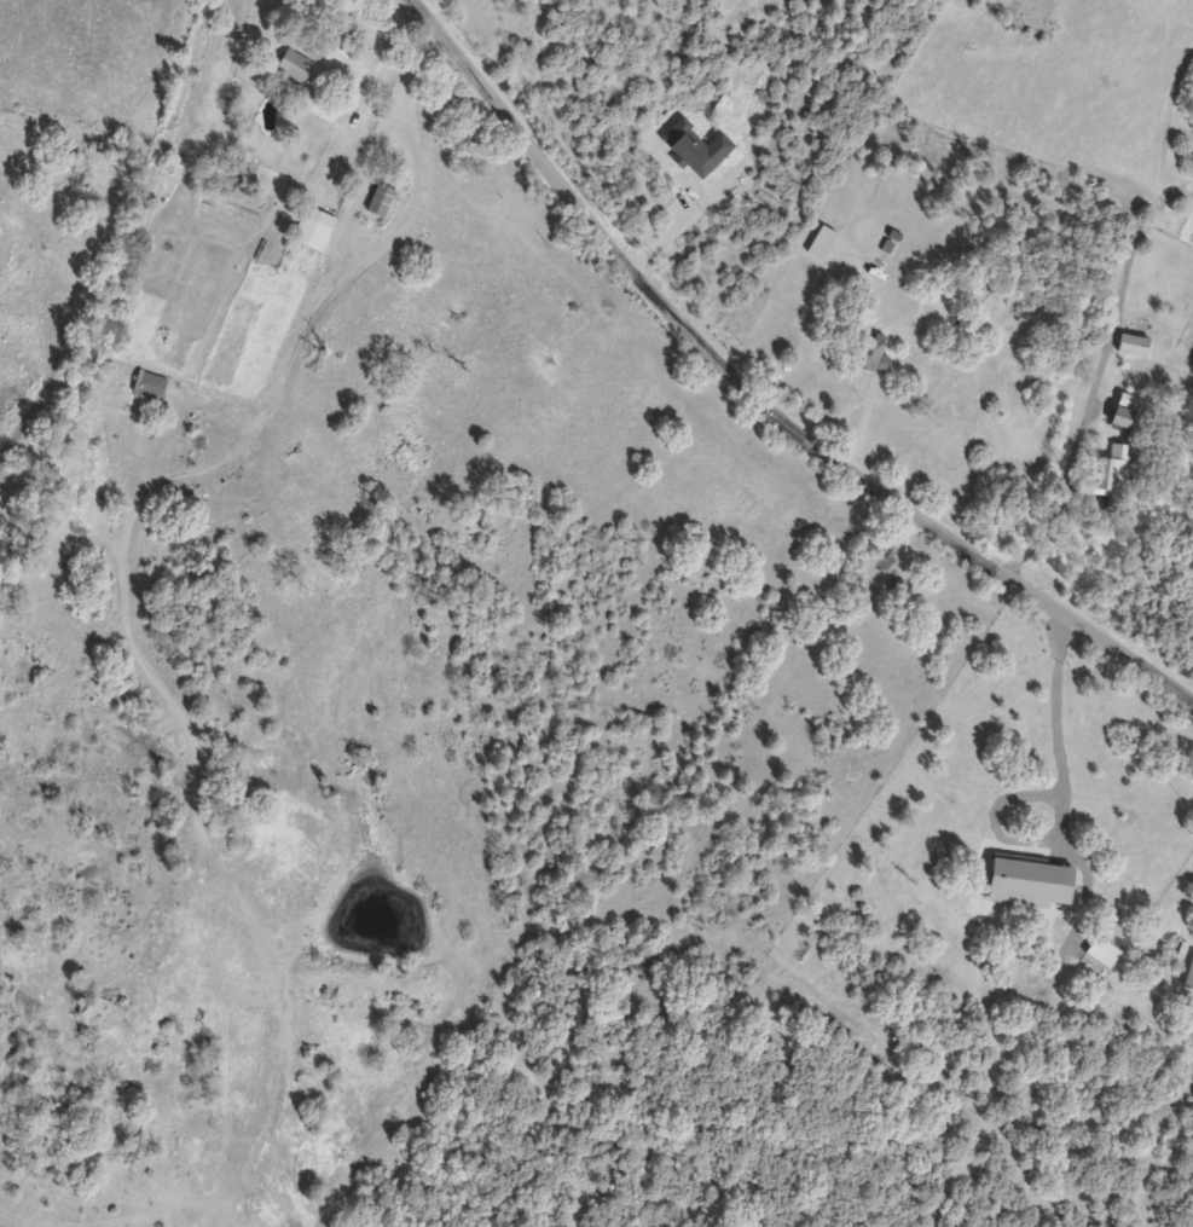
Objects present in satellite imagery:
road: (372, 59)
building: (301, 69)
building: (697, 147)
building: (380, 198)
building: (315, 228)
building: (821, 242)
building: (1135, 345)
building: (876, 354)
building: (152, 386)
road: (759, 394)
building: (1127, 410)
road: (1072, 447)
building: (1111, 468)
road: (1053, 725)
building: (1033, 882)
building: (1102, 951)
building: (1189, 973)

